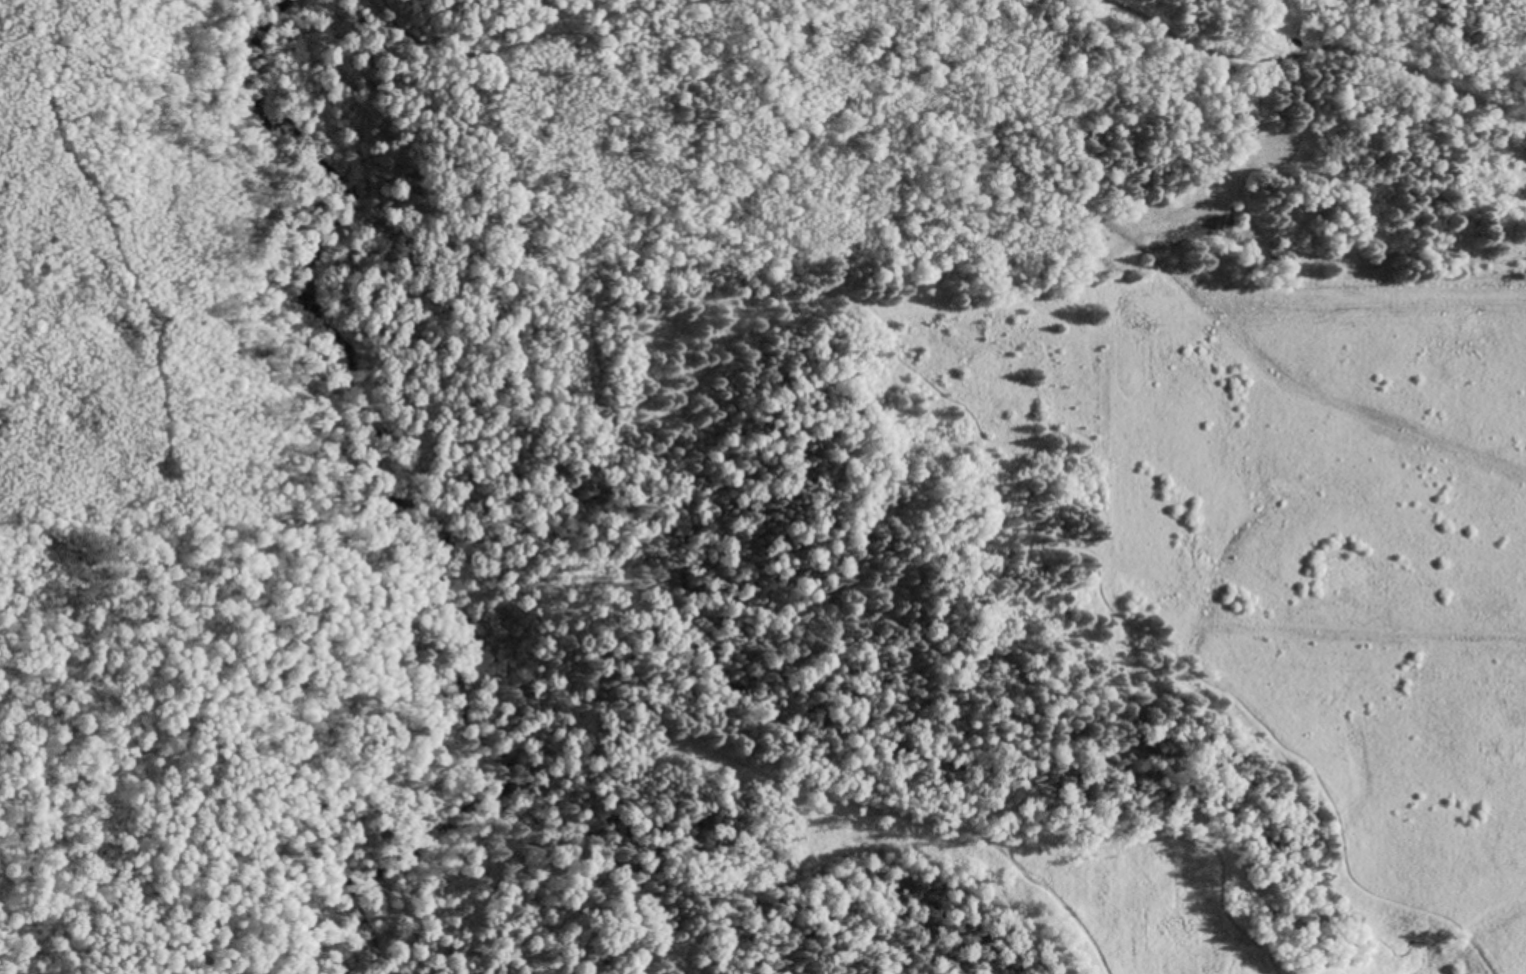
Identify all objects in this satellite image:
crop: (1347, 553)

